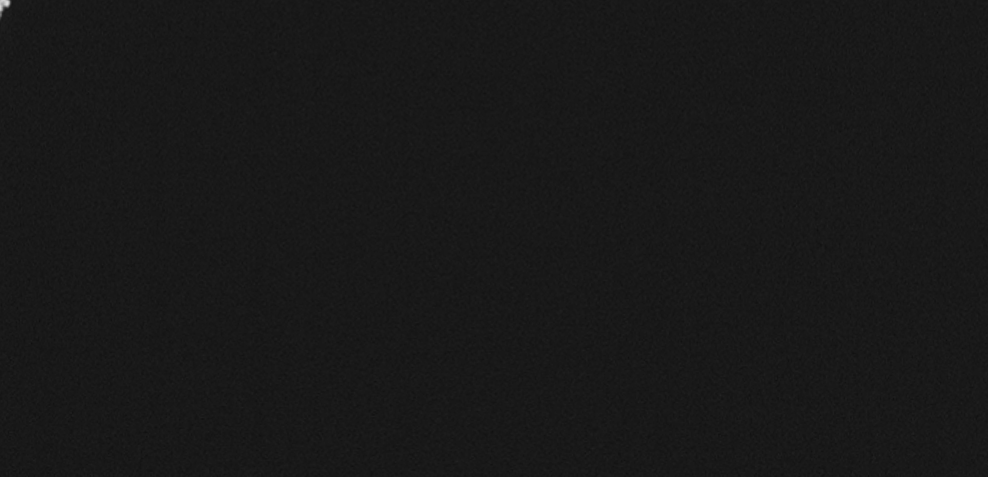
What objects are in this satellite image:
river: (845, 126)

